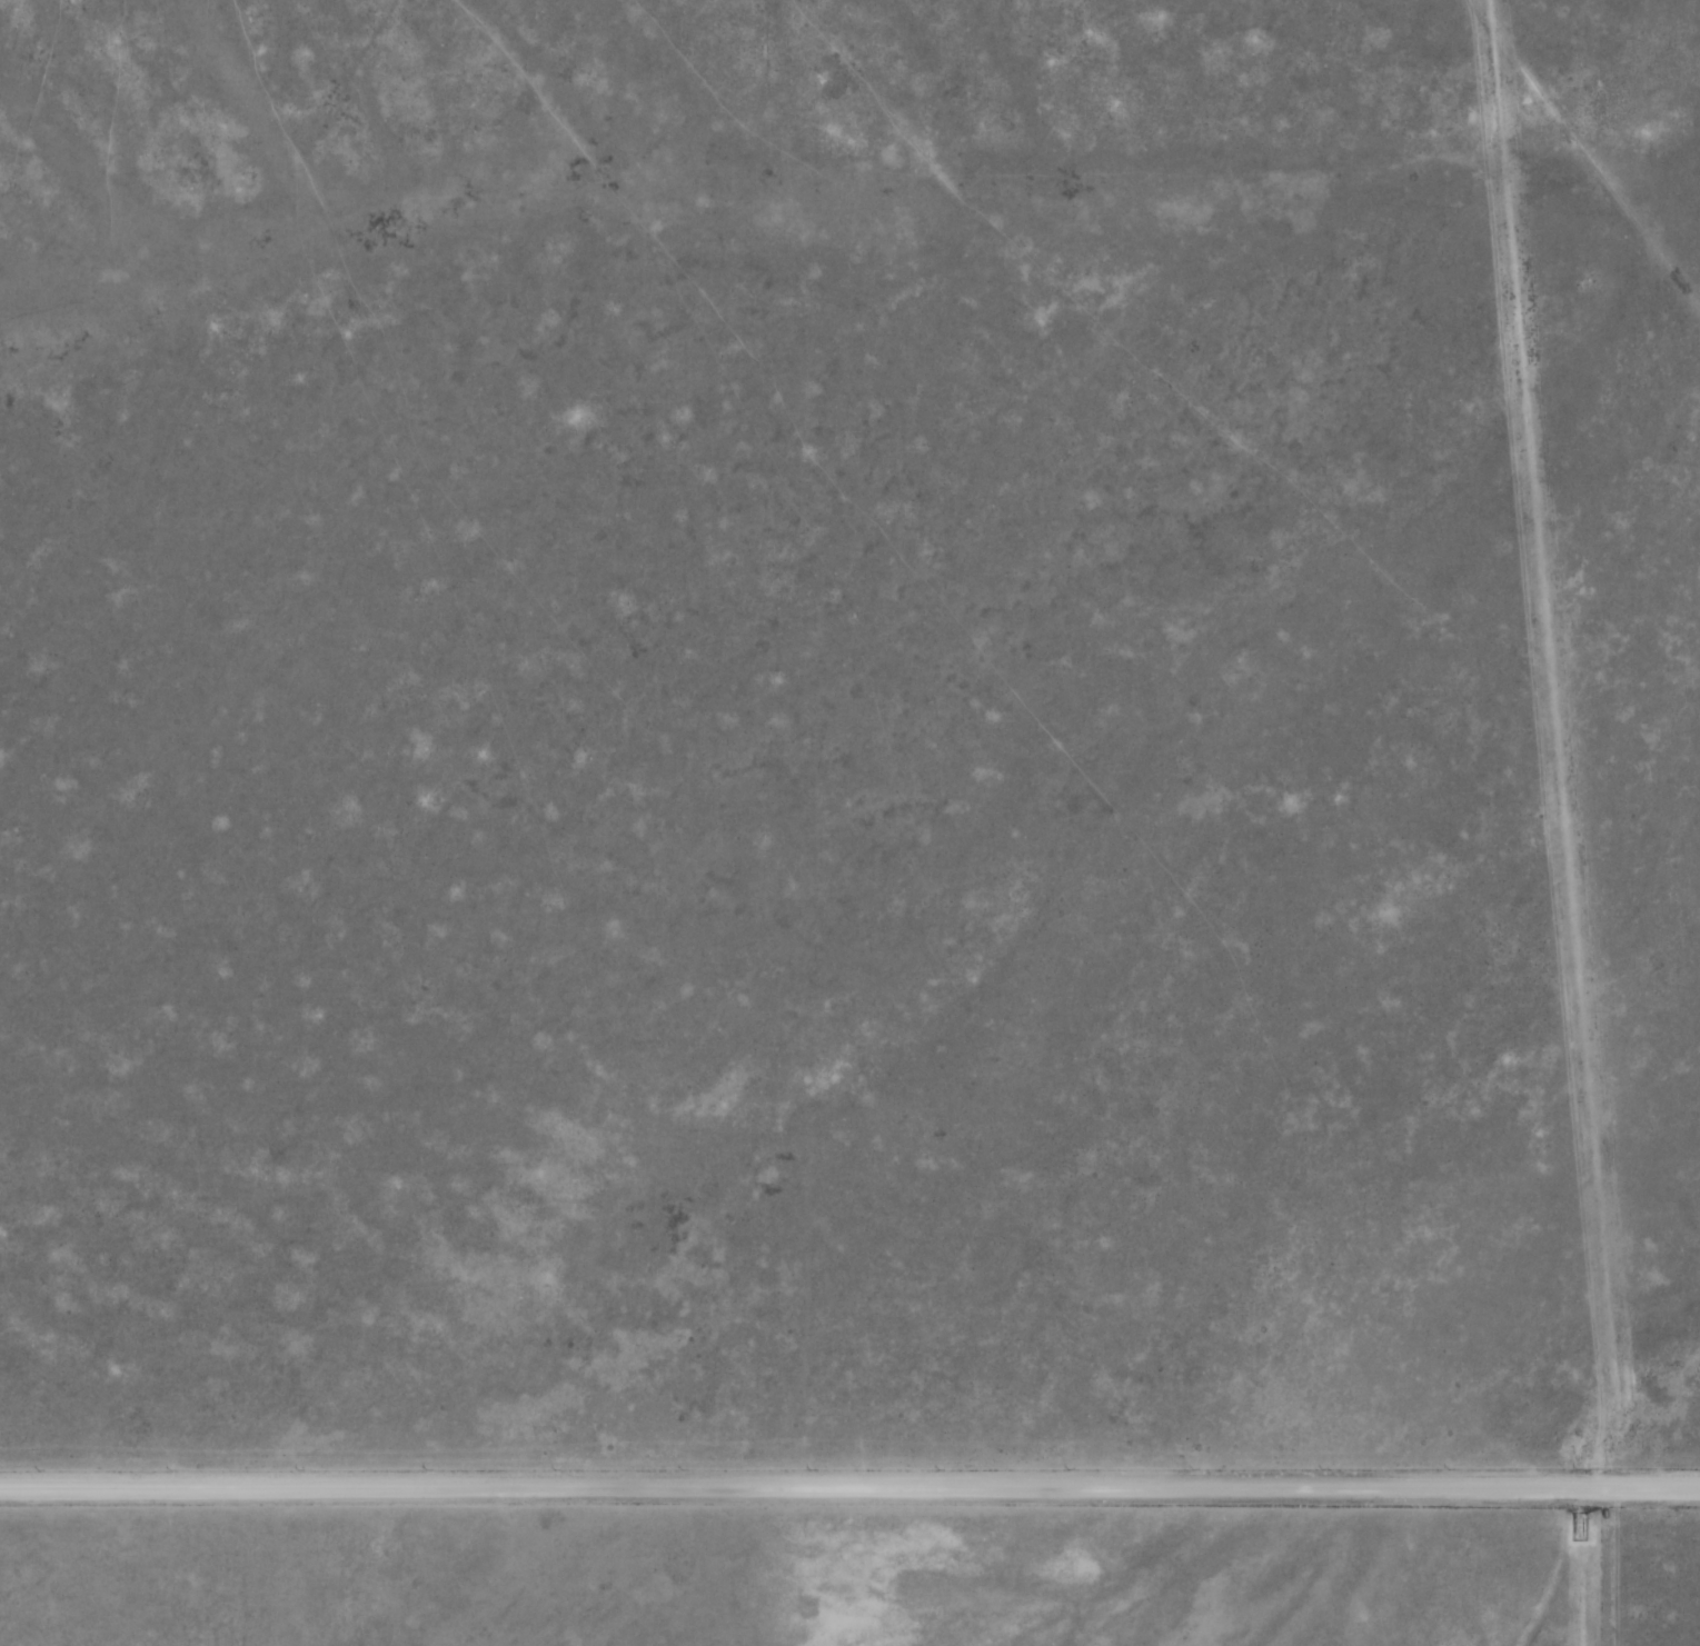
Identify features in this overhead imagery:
road: (849, 1476)

